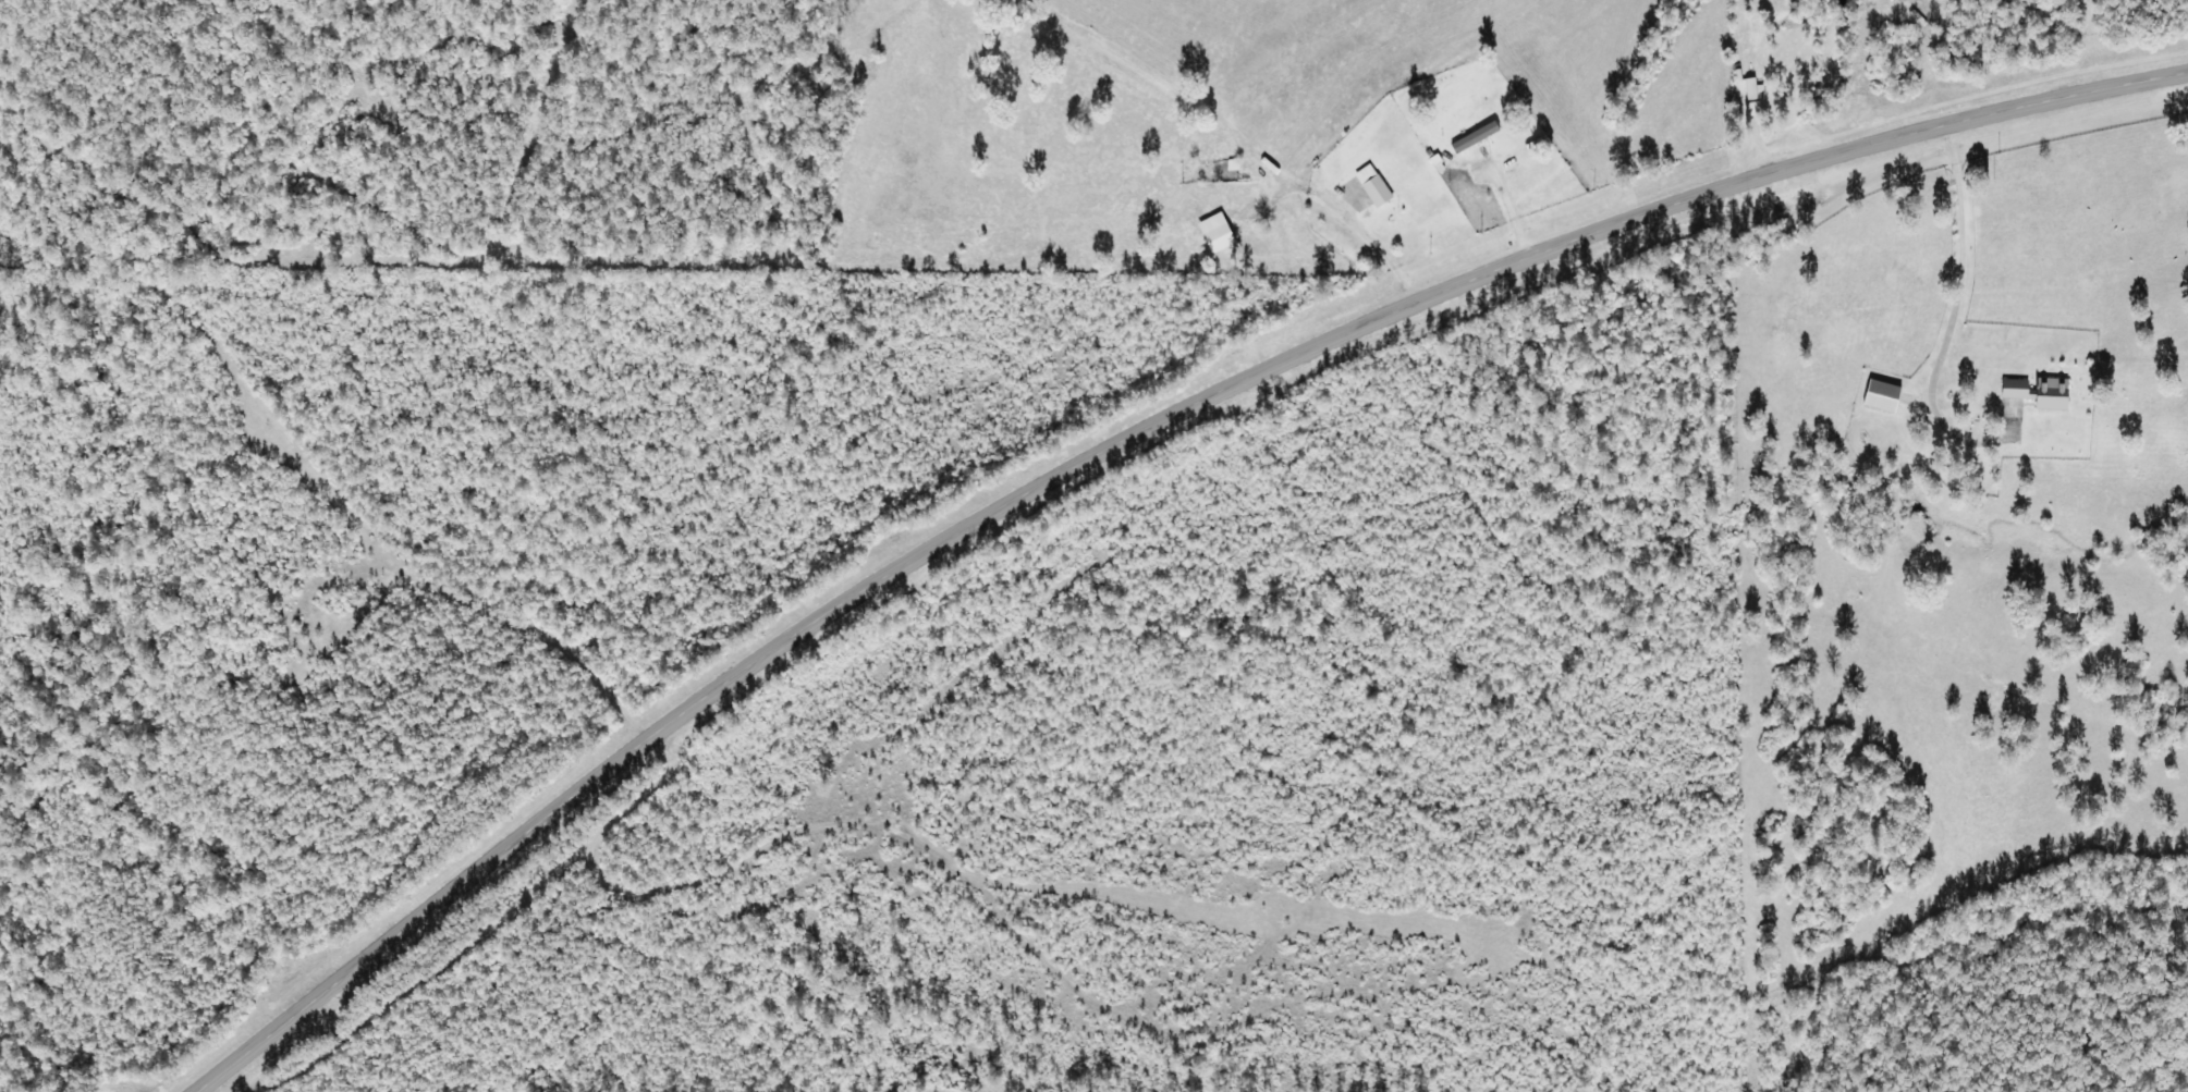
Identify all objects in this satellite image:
building: (1755, 87)
road: (1560, 115)
building: (1481, 137)
building: (1379, 186)
building: (1222, 233)
building: (1890, 396)
road: (1119, 440)

